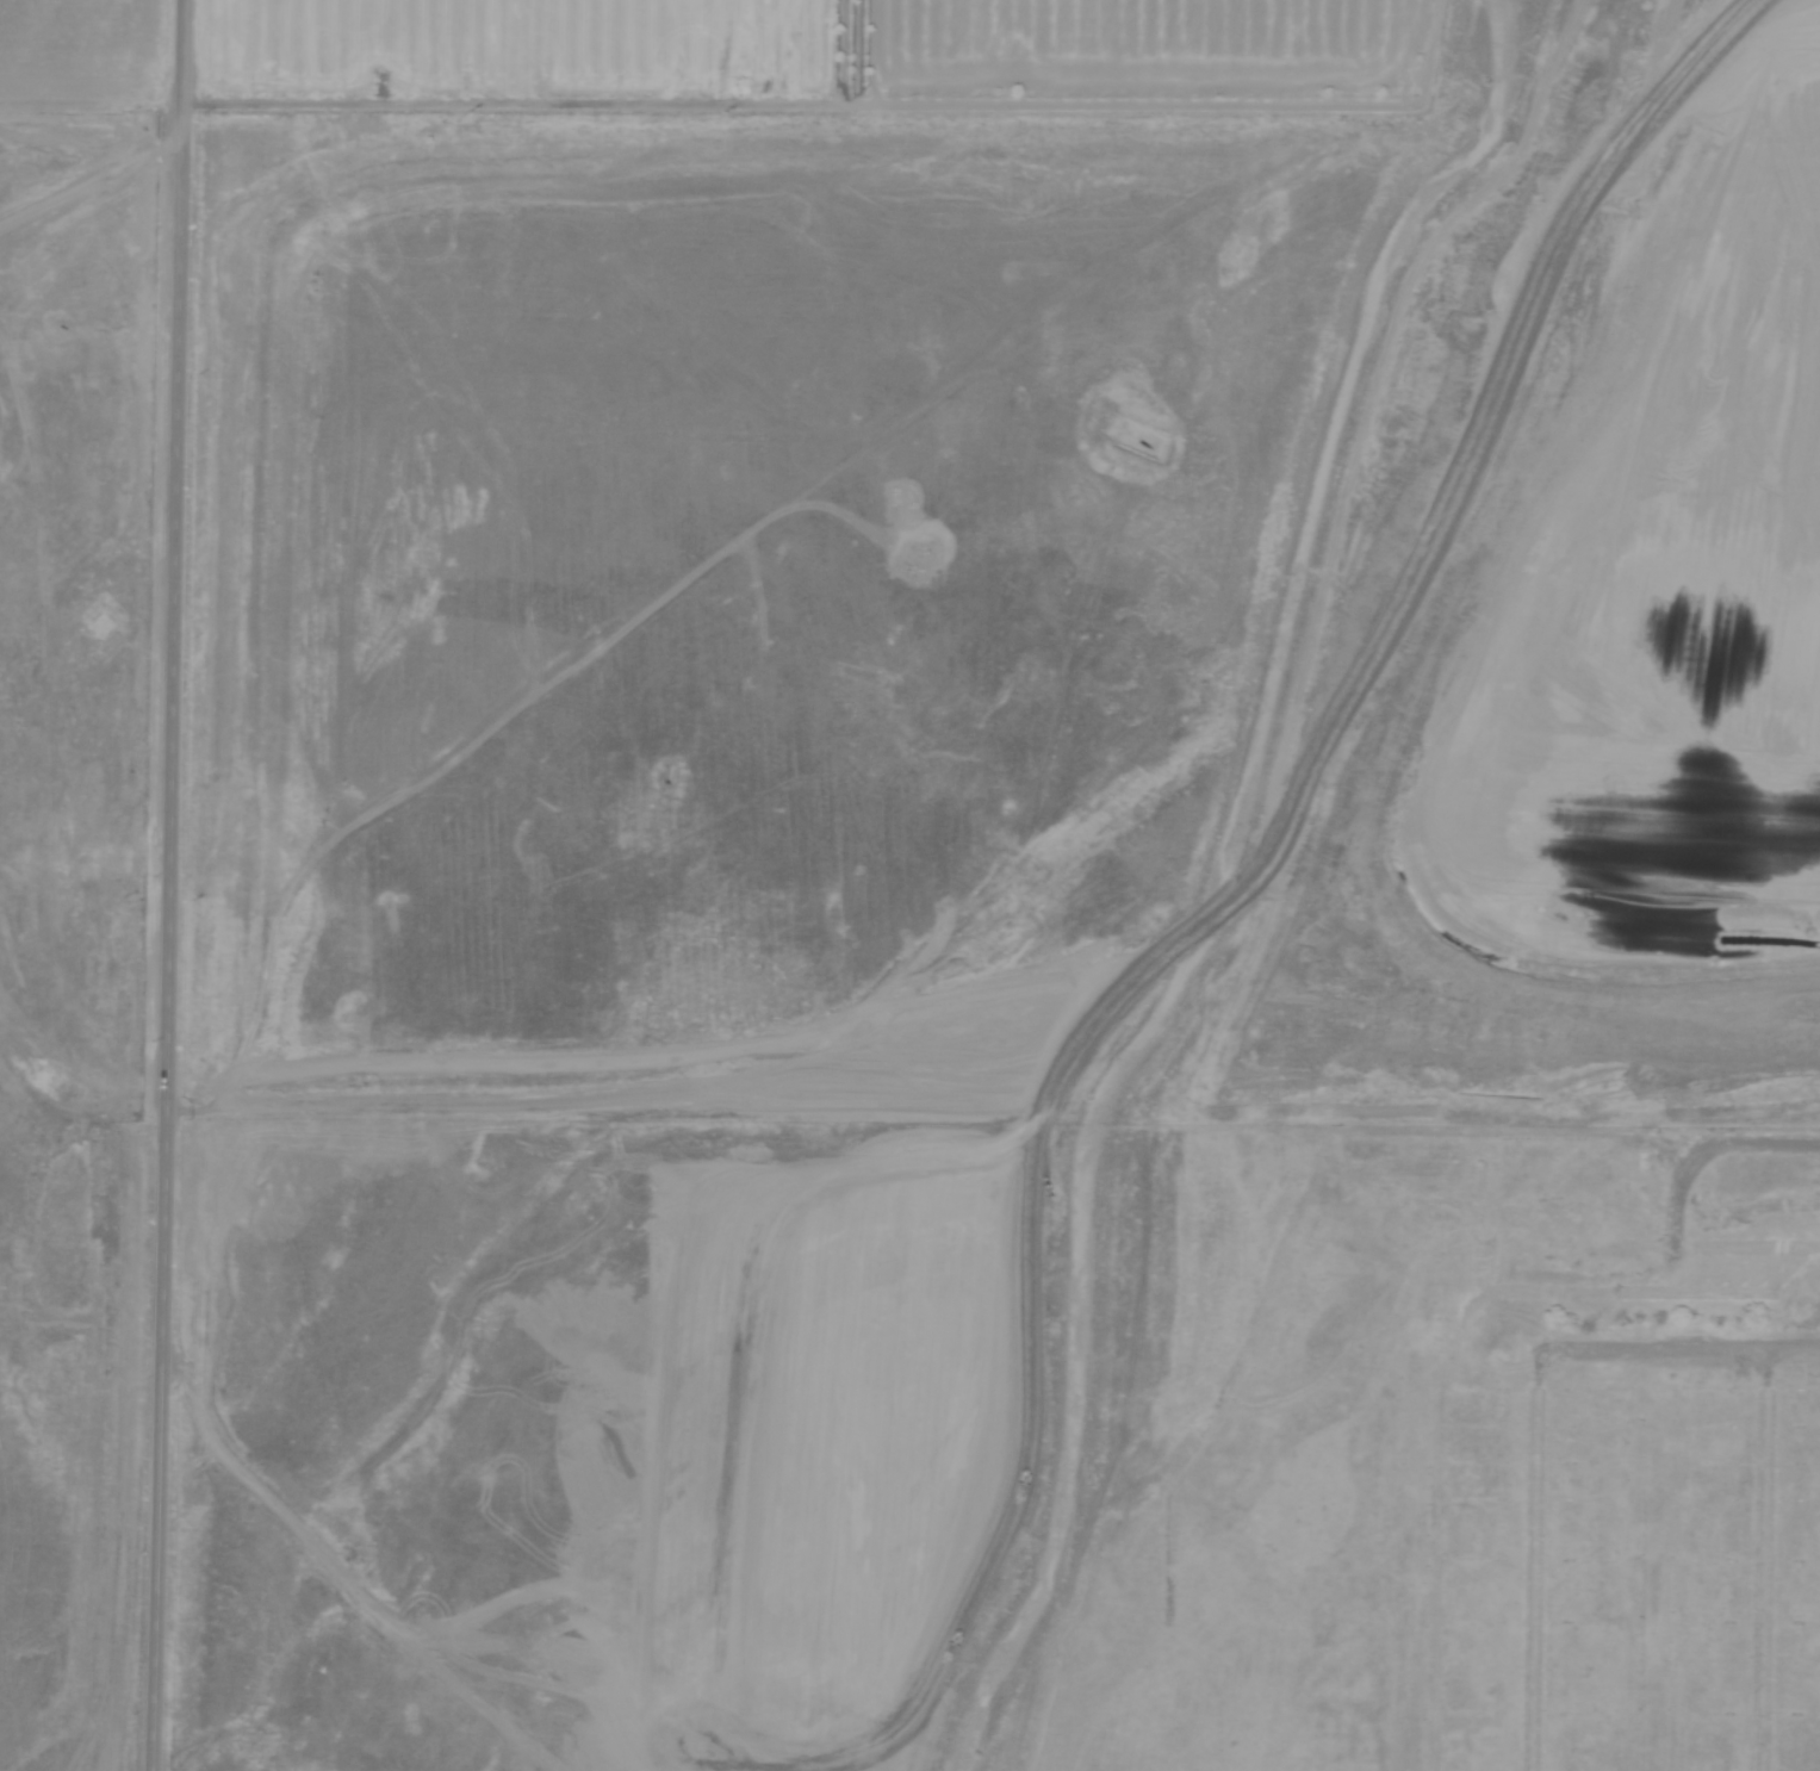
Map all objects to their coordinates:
crop: (727, 49)
road: (89, 161)
road: (92, 365)
road: (168, 885)
road: (588, 1100)
road: (1669, 1174)
road: (1615, 1354)
road: (1428, 1524)
road: (1765, 1559)
road: (1523, 1566)

